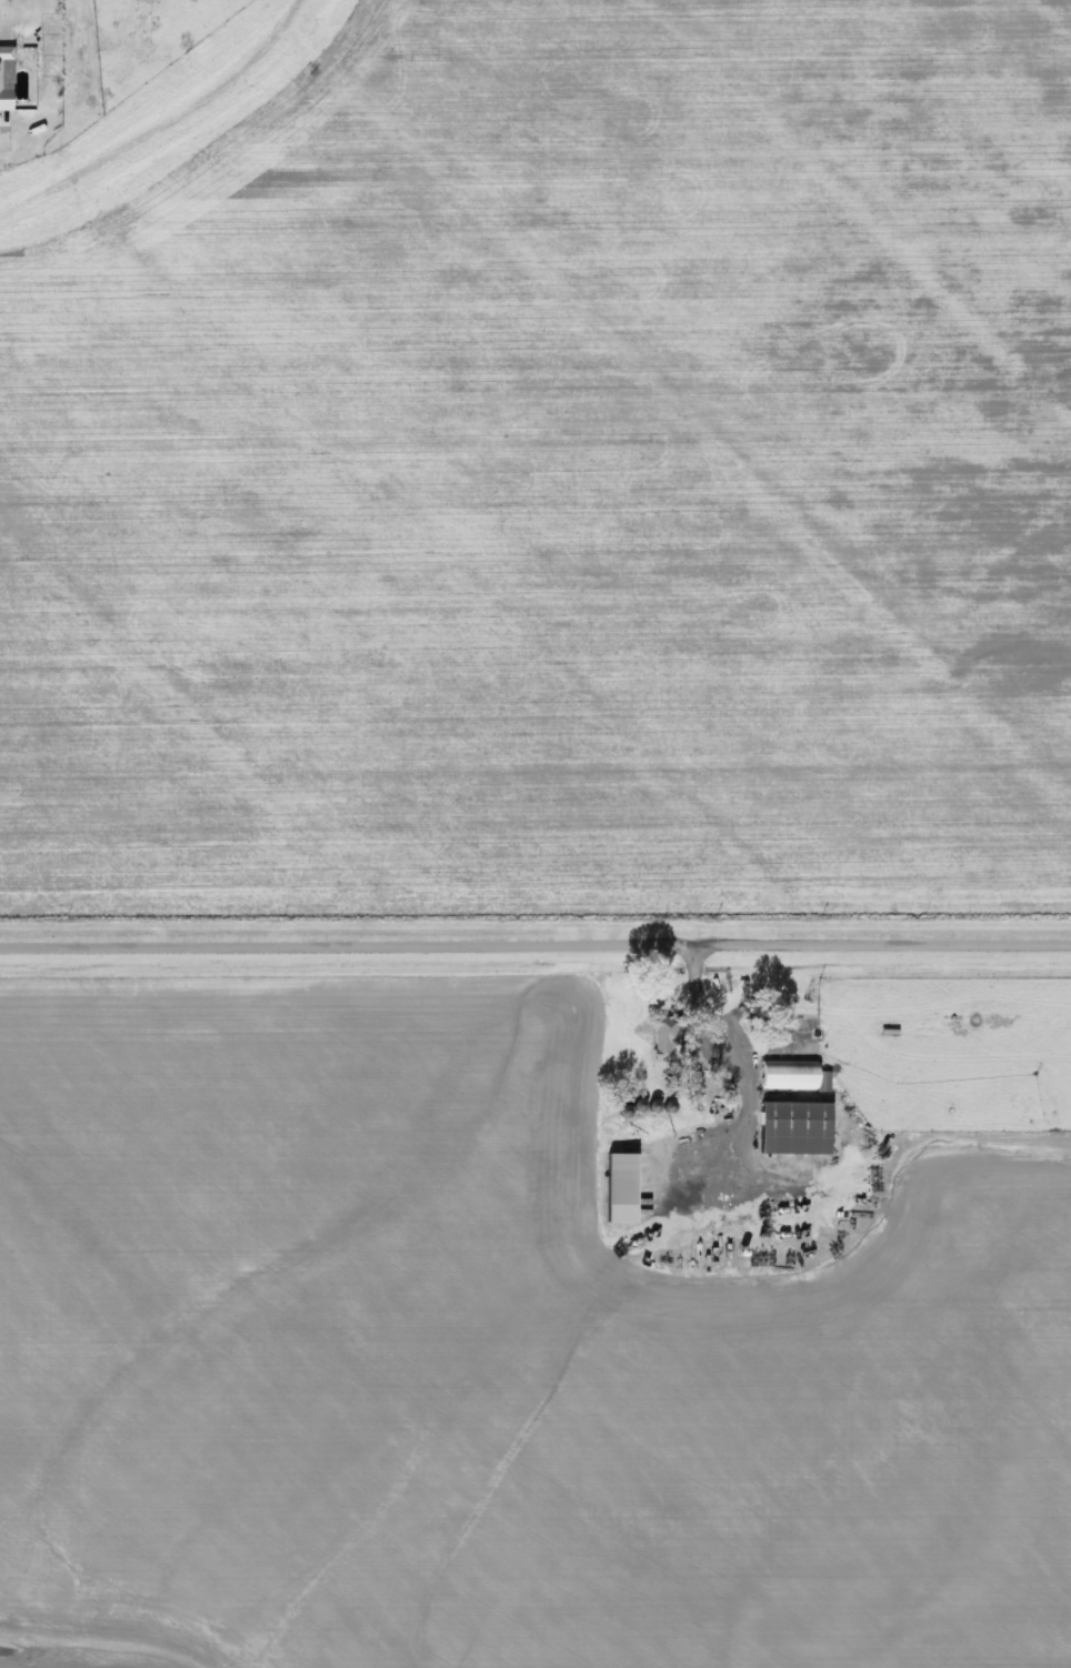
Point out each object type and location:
building: (3, 89)
road: (535, 949)
building: (793, 1077)
building: (795, 1129)
building: (621, 1190)

